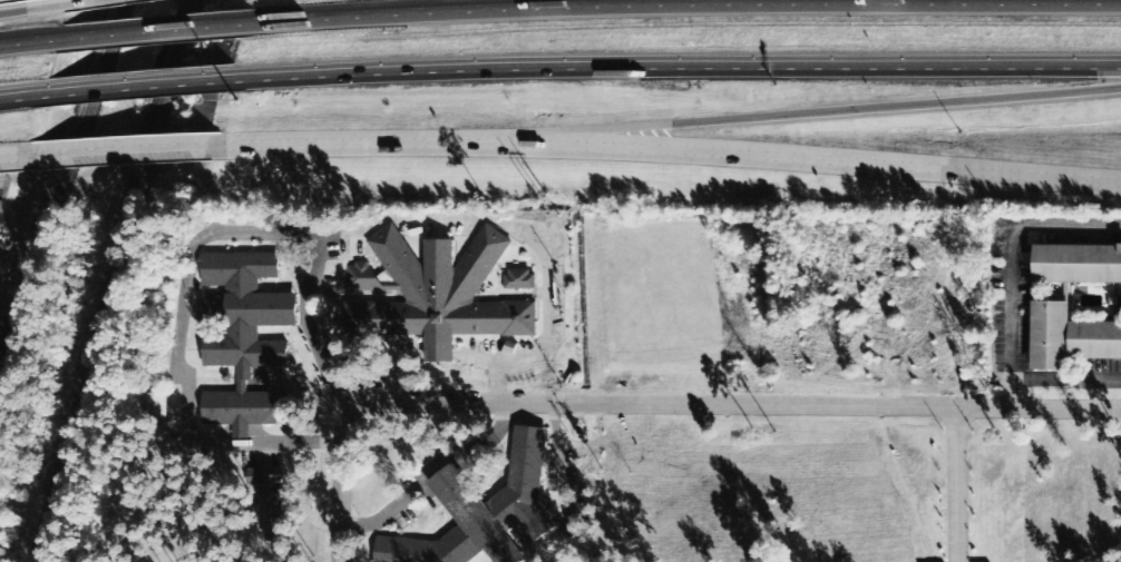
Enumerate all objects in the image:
road: (81, 1)
road: (680, 6)
road: (37, 8)
road: (154, 31)
road: (33, 43)
road: (672, 62)
road: (137, 86)
road: (25, 95)
street lamp: (237, 106)
road: (803, 117)
street lamp: (962, 134)
road: (666, 147)
road: (127, 150)
road: (21, 156)
road: (56, 166)
road: (529, 235)
road: (1008, 262)
building: (1078, 264)
building: (361, 278)
railway: (100, 280)
building: (521, 280)
building: (440, 297)
road: (312, 321)
building: (246, 338)
building: (1070, 338)
road: (178, 353)
road: (1064, 379)
building: (160, 405)
road: (733, 406)
building: (269, 481)
road: (339, 484)
road: (958, 485)
building: (486, 513)
building: (276, 516)
building: (581, 538)

